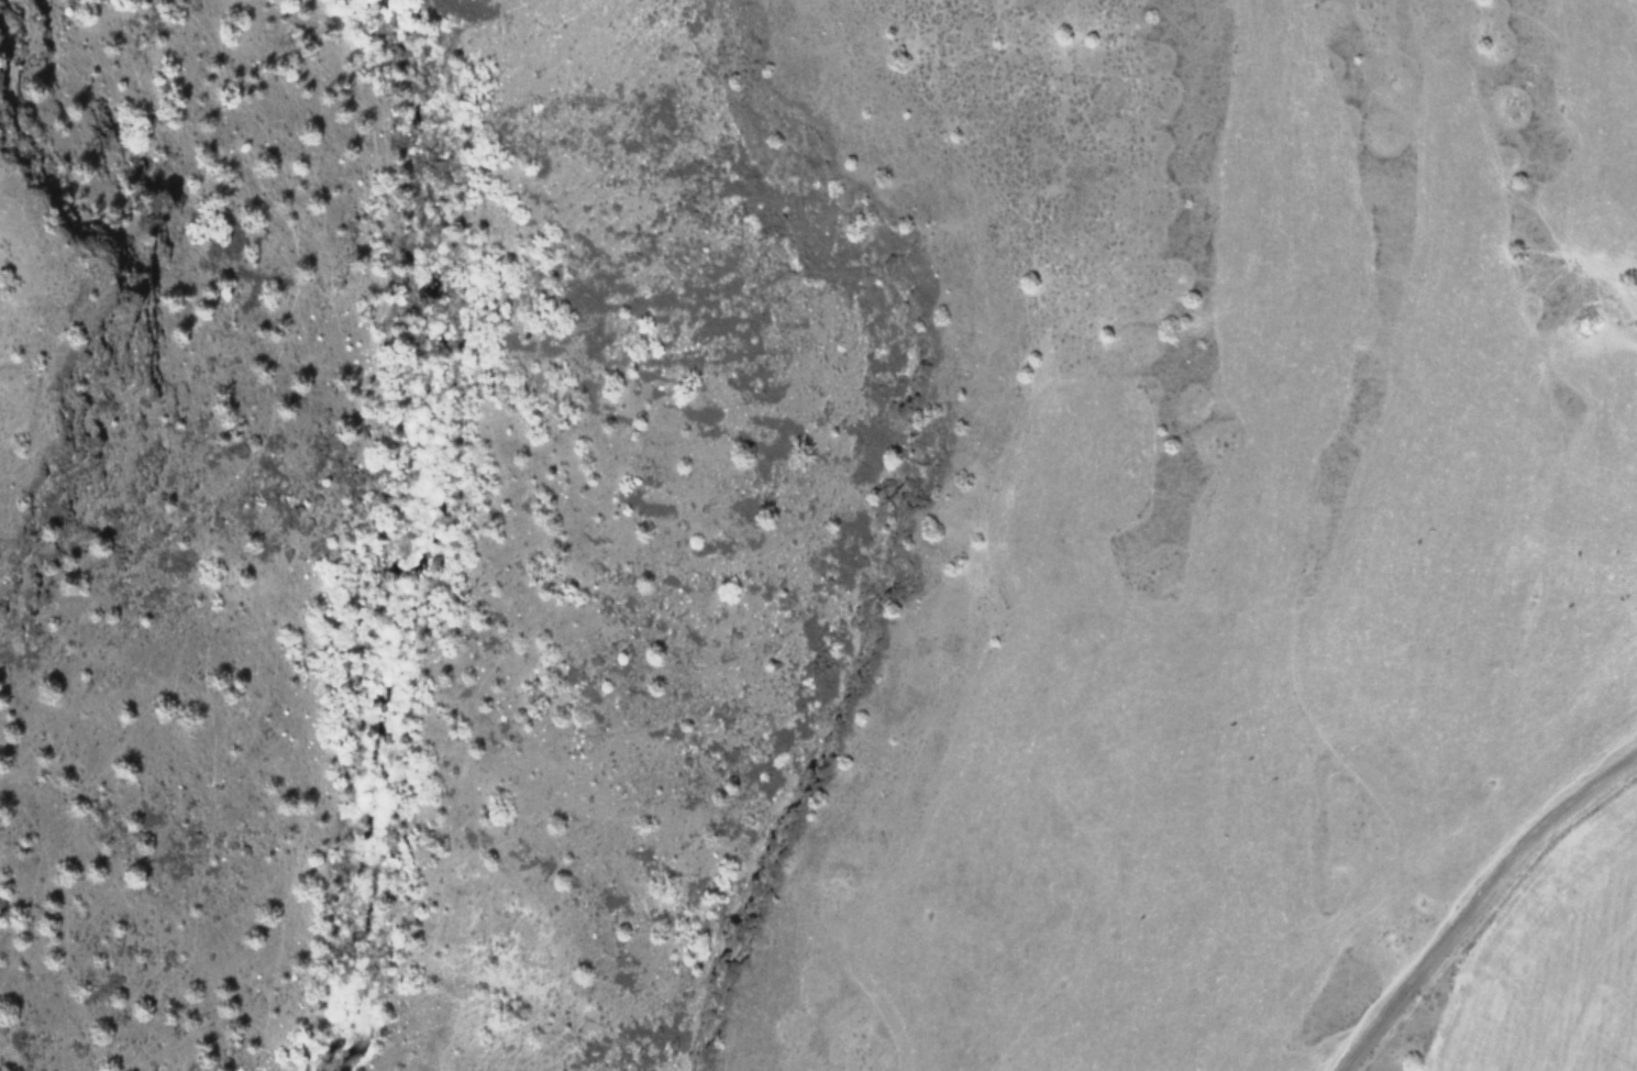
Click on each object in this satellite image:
road: (1479, 903)

